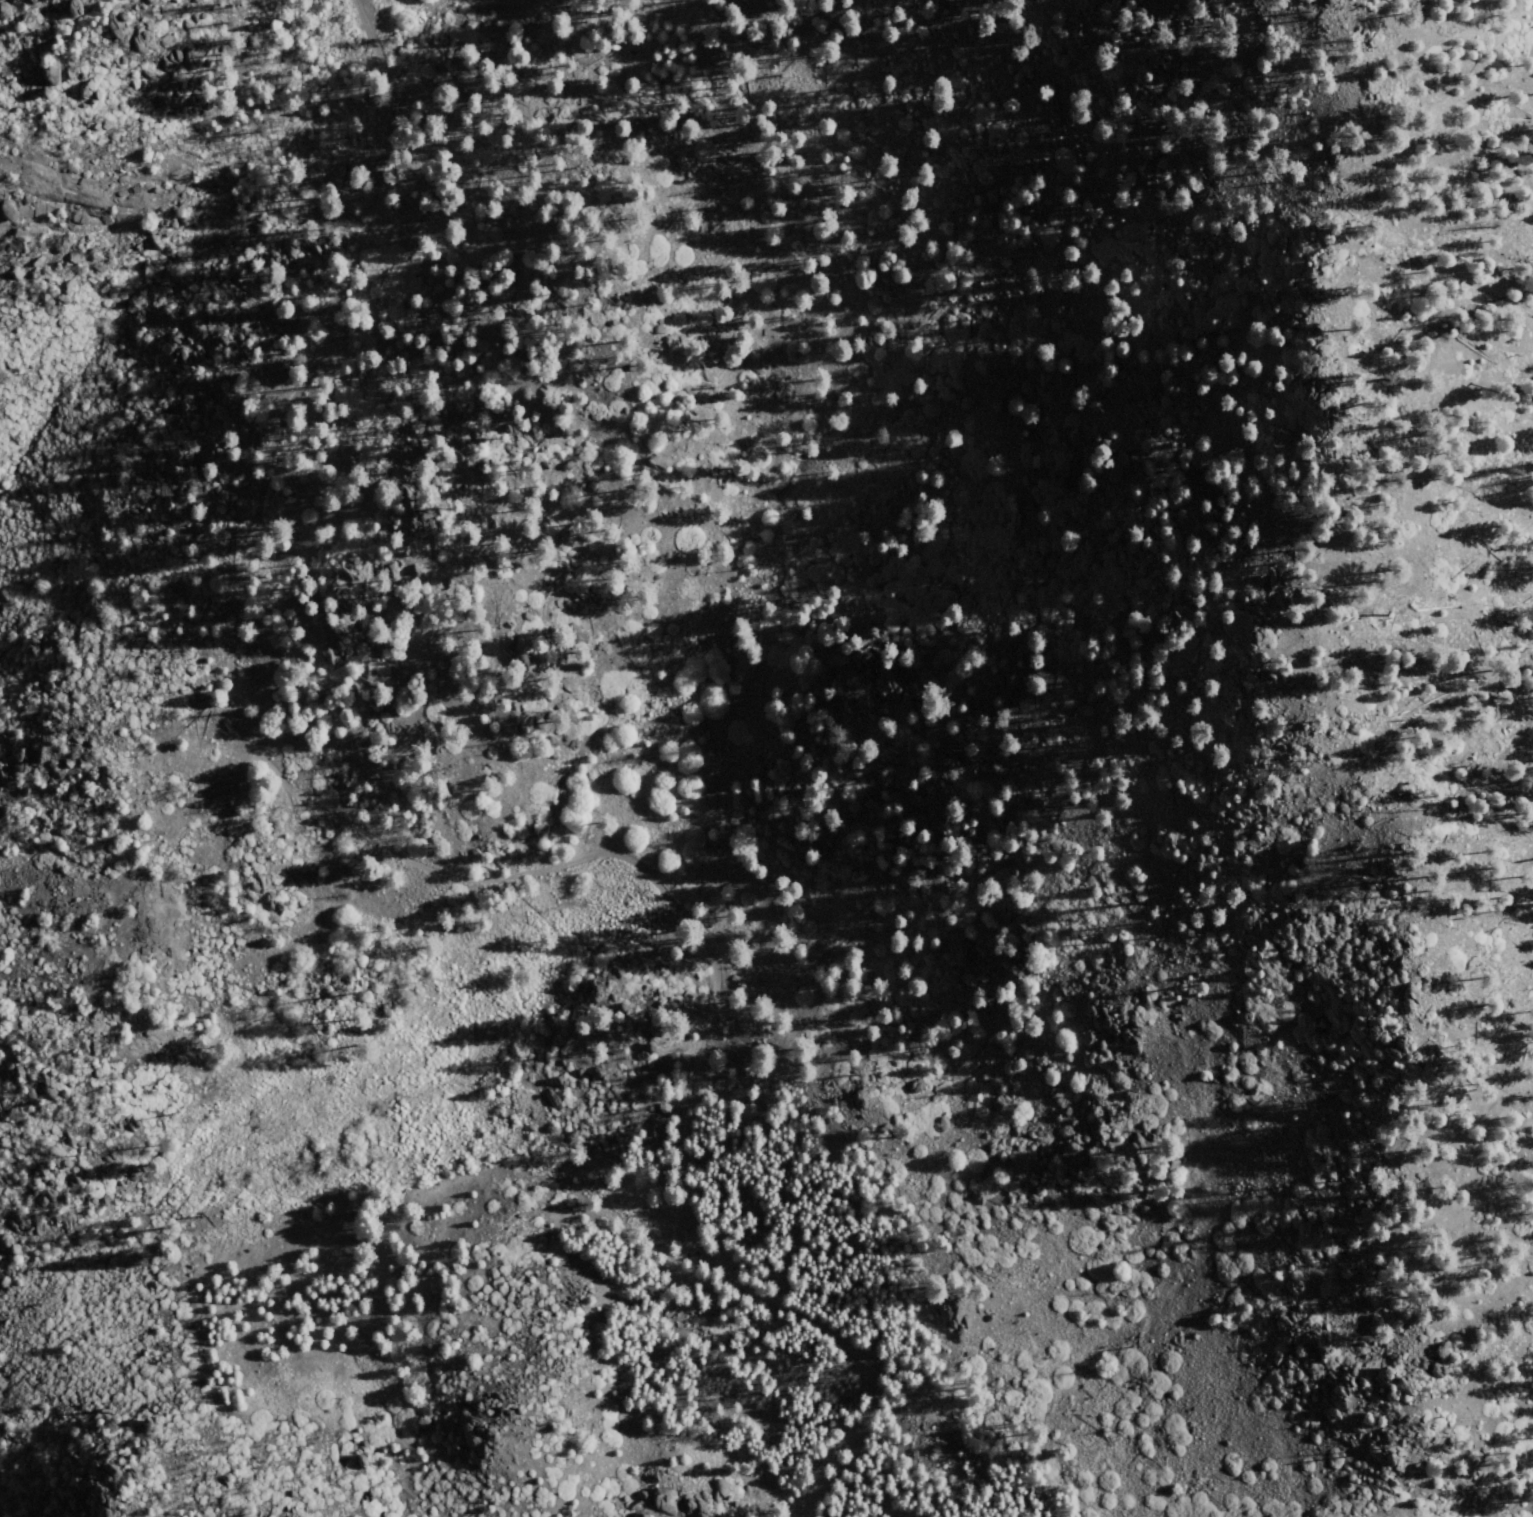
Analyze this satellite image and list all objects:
road: (354, 829)
road: (844, 1444)

